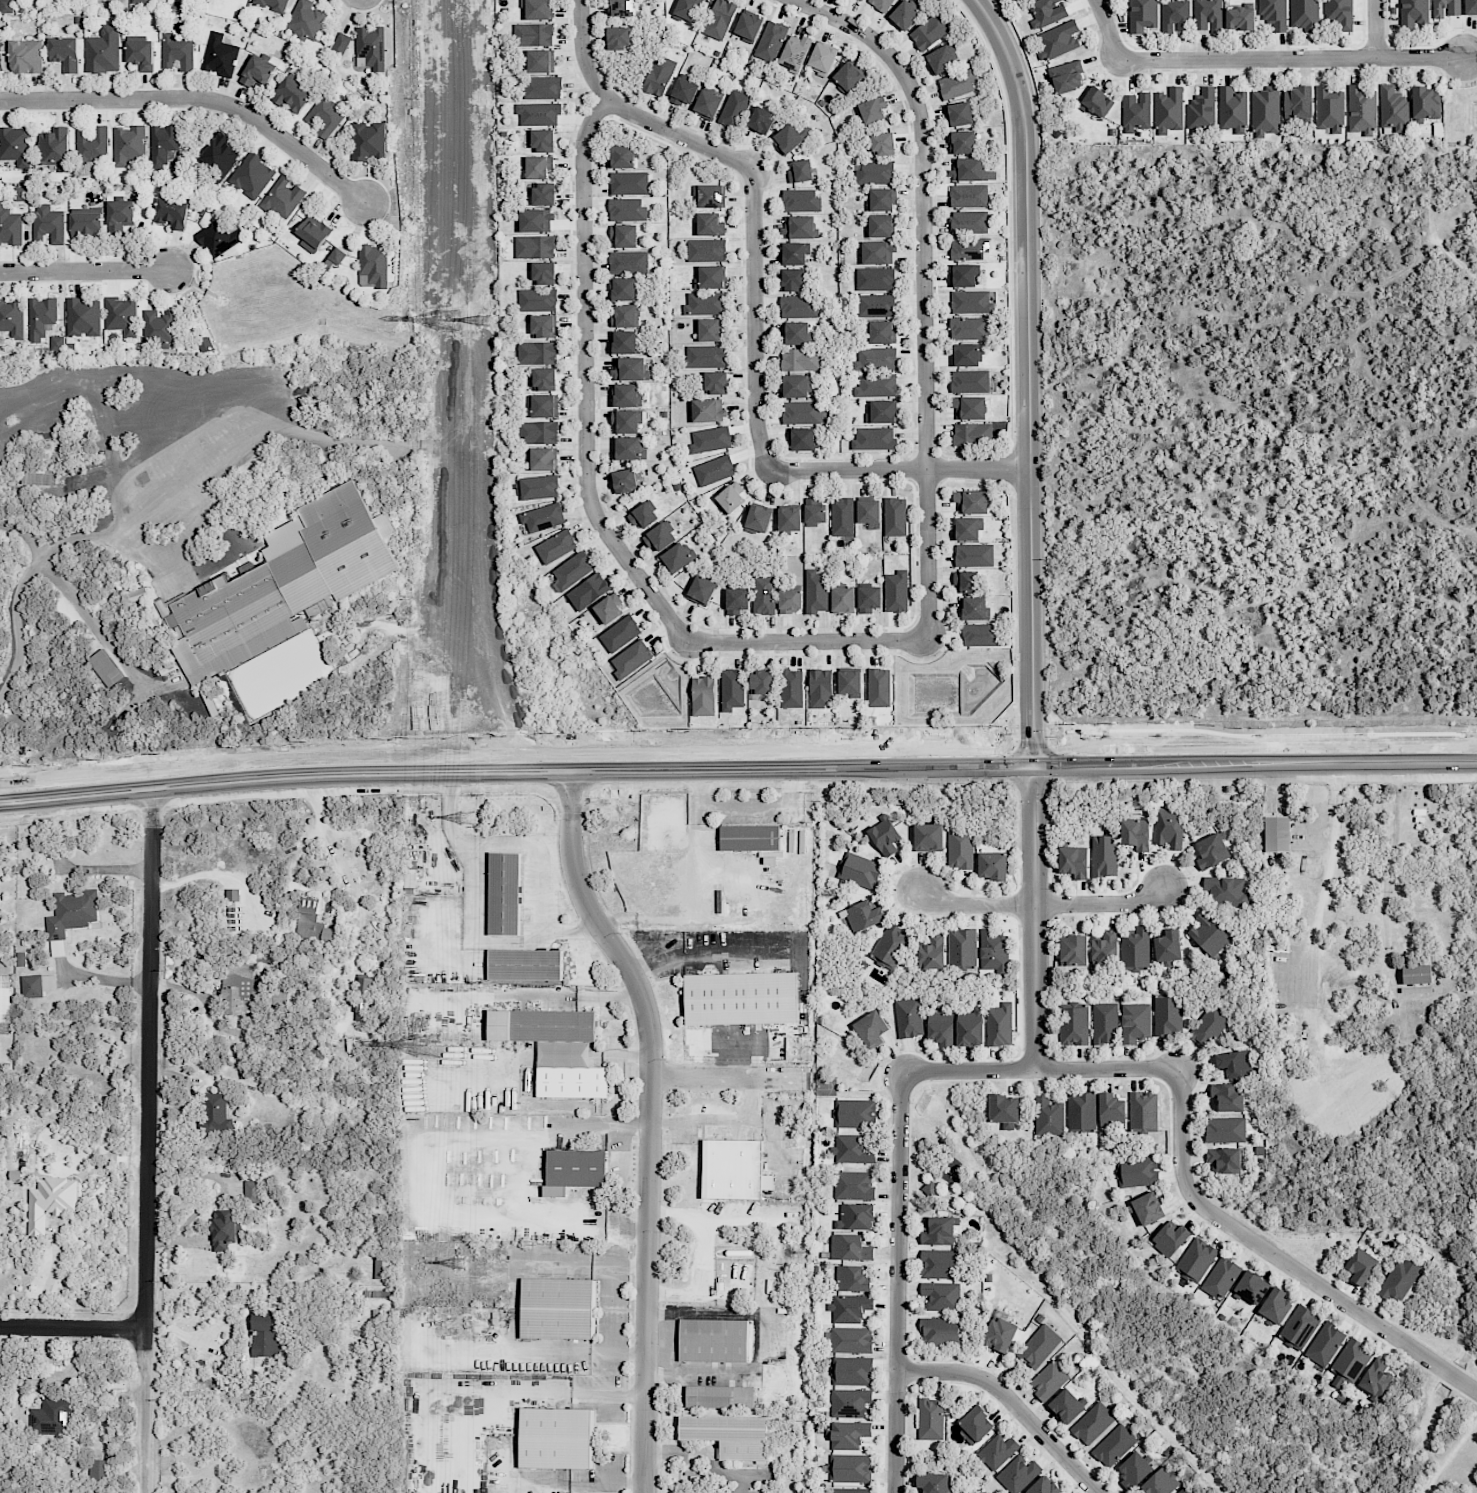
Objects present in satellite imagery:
building: (861, 0)
building: (139, 1)
building: (272, 4)
building: (881, 4)
building: (6, 6)
building: (1470, 6)
building: (622, 8)
building: (1445, 8)
building: (537, 9)
building: (688, 9)
building: (1047, 12)
building: (1274, 13)
building: (1339, 13)
building: (1412, 13)
building: (1304, 14)
building: (905, 15)
building: (1142, 15)
building: (1175, 15)
building: (1208, 15)
building: (307, 19)
building: (719, 19)
building: (1239, 19)
building: (748, 27)
road: (1109, 29)
road: (1376, 29)
building: (930, 31)
building: (533, 34)
building: (619, 38)
building: (1059, 40)
building: (770, 41)
building: (340, 44)
building: (370, 48)
building: (103, 50)
building: (177, 51)
building: (65, 52)
building: (794, 52)
building: (141, 54)
building: (1, 55)
building: (220, 55)
building: (26, 56)
building: (822, 58)
road: (1291, 58)
building: (942, 59)
building: (540, 61)
building: (258, 72)
building: (659, 75)
building: (848, 77)
building: (1067, 77)
building: (957, 83)
building: (542, 88)
building: (683, 91)
building: (292, 95)
road: (197, 99)
building: (1097, 102)
building: (1298, 102)
building: (1426, 103)
building: (707, 104)
building: (733, 108)
building: (1202, 108)
building: (1393, 108)
building: (1232, 109)
building: (1329, 109)
building: (872, 110)
building: (1168, 110)
building: (1362, 110)
building: (1136, 111)
building: (1265, 112)
building: (538, 113)
road: (630, 113)
building: (959, 114)
building: (325, 115)
building: (761, 120)
building: (787, 139)
building: (368, 140)
building: (542, 140)
building: (963, 142)
building: (883, 143)
building: (92, 144)
building: (163, 144)
building: (15, 145)
building: (128, 145)
building: (54, 150)
building: (221, 153)
building: (623, 156)
building: (539, 167)
building: (969, 169)
building: (800, 171)
building: (875, 173)
building: (252, 175)
building: (629, 183)
building: (543, 194)
building: (969, 195)
building: (709, 196)
building: (283, 197)
building: (881, 199)
building: (801, 200)
building: (626, 209)
building: (172, 212)
building: (119, 215)
building: (535, 220)
building: (969, 222)
building: (48, 223)
building: (85, 224)
building: (708, 224)
building: (9, 225)
building: (880, 225)
building: (799, 226)
building: (313, 233)
building: (624, 235)
building: (218, 238)
building: (534, 247)
building: (970, 248)
building: (706, 249)
building: (878, 252)
building: (794, 253)
building: (334, 259)
building: (628, 262)
building: (373, 265)
road: (1464, 267)
road: (84, 270)
building: (543, 272)
building: (964, 275)
building: (711, 277)
building: (875, 279)
building: (792, 280)
building: (624, 289)
road: (924, 289)
building: (537, 299)
building: (972, 302)
building: (704, 303)
building: (876, 305)
building: (798, 306)
building: (121, 315)
building: (625, 315)
building: (41, 317)
building: (83, 317)
building: (12, 318)
road: (753, 318)
power tower: (485, 319)
power tower: (449, 321)
building: (543, 326)
building: (159, 327)
building: (968, 328)
building: (708, 330)
building: (882, 332)
building: (796, 333)
building: (625, 342)
building: (57, 343)
building: (537, 353)
building: (705, 355)
building: (968, 355)
building: (876, 359)
building: (801, 360)
building: (629, 368)
building: (544, 379)
road: (1029, 380)
road: (584, 381)
building: (970, 381)
building: (716, 382)
building: (875, 385)
building: (797, 386)
building: (627, 395)
building: (543, 405)
building: (970, 407)
building: (708, 410)
building: (882, 411)
building: (802, 412)
building: (626, 421)
crop: (1264, 431)
building: (538, 432)
building: (973, 434)
building: (874, 438)
building: (710, 439)
building: (803, 439)
building: (629, 448)
building: (542, 459)
road: (900, 469)
building: (714, 470)
building: (36, 475)
building: (625, 480)
building: (539, 487)
building: (731, 497)
road: (154, 498)
building: (971, 502)
building: (868, 511)
building: (814, 512)
building: (644, 515)
building: (842, 516)
building: (895, 516)
building: (543, 517)
building: (758, 519)
building: (789, 519)
building: (967, 528)
building: (660, 536)
building: (556, 546)
building: (974, 555)
building: (678, 557)
building: (573, 570)
building: (966, 581)
building: (283, 587)
building: (701, 590)
building: (588, 591)
building: (816, 591)
building: (896, 591)
building: (137, 594)
building: (764, 594)
building: (869, 598)
building: (843, 599)
building: (737, 600)
building: (790, 600)
road: (76, 604)
building: (609, 608)
building: (975, 608)
building: (620, 633)
building: (981, 634)
road: (807, 640)
building: (631, 658)
building: (105, 668)
building: (761, 682)
building: (850, 683)
building: (879, 687)
building: (791, 688)
building: (820, 688)
building: (732, 689)
building: (703, 696)
traffic signals: (1032, 771)
road: (737, 774)
road: (8, 785)
power tower: (469, 817)
road: (322, 827)
building: (1169, 827)
building: (1135, 833)
building: (1276, 834)
building: (884, 835)
building: (928, 837)
building: (749, 838)
road: (1331, 839)
building: (960, 845)
building: (1211, 851)
road: (541, 853)
building: (1103, 855)
building: (1073, 861)
building: (992, 865)
road: (71, 866)
building: (859, 870)
building: (1227, 891)
building: (504, 894)
road: (1039, 900)
building: (71, 912)
building: (864, 916)
road: (1034, 919)
building: (313, 922)
road: (471, 923)
building: (1208, 934)
building: (890, 946)
building: (1168, 946)
building: (962, 949)
building: (1105, 949)
building: (1135, 949)
building: (1073, 950)
building: (993, 951)
building: (932, 953)
road: (704, 956)
building: (524, 964)
building: (1416, 974)
road: (102, 980)
building: (36, 987)
building: (237, 988)
building: (363, 994)
building: (741, 998)
building: (4, 1004)
building: (1168, 1016)
building: (908, 1017)
building: (1135, 1022)
building: (1105, 1023)
building: (1073, 1024)
building: (541, 1025)
building: (999, 1025)
building: (970, 1027)
building: (1207, 1027)
building: (941, 1028)
building: (871, 1029)
power tower: (429, 1051)
building: (1233, 1064)
road: (1037, 1068)
road: (725, 1080)
building: (571, 1082)
building: (1227, 1097)
building: (1004, 1110)
building: (1111, 1110)
building: (1081, 1111)
building: (1143, 1111)
building: (854, 1113)
building: (216, 1114)
building: (1048, 1116)
road: (648, 1125)
building: (1225, 1129)
road: (147, 1142)
building: (852, 1149)
building: (1224, 1159)
building: (576, 1167)
building: (733, 1169)
building: (1137, 1171)
building: (853, 1185)
building: (930, 1188)
building: (251, 1191)
building: (50, 1201)
building: (1148, 1208)
building: (856, 1216)
building: (225, 1228)
building: (938, 1231)
building: (1170, 1238)
building: (850, 1248)
road: (702, 1255)
road: (1279, 1258)
building: (1196, 1260)
road: (579, 1261)
power tower: (462, 1264)
building: (939, 1264)
building: (1360, 1265)
building: (382, 1267)
building: (1221, 1277)
building: (852, 1279)
building: (1399, 1280)
road: (896, 1281)
building: (1252, 1286)
building: (941, 1296)
building: (1275, 1305)
building: (556, 1308)
building: (849, 1308)
road: (73, 1326)
building: (1299, 1327)
building: (940, 1331)
building: (264, 1334)
building: (713, 1340)
building: (850, 1340)
building: (1325, 1344)
road: (531, 1346)
building: (1039, 1346)
road: (218, 1349)
building: (1350, 1360)
building: (851, 1371)
building: (1376, 1378)
building: (1049, 1379)
building: (720, 1397)
building: (849, 1402)
road: (1009, 1402)
building: (1066, 1406)
building: (51, 1416)
building: (930, 1419)
building: (1093, 1422)
building: (976, 1424)
building: (728, 1434)
building: (848, 1434)
building: (555, 1438)
building: (1114, 1445)
building: (997, 1451)
road: (705, 1458)
building: (849, 1468)
building: (1134, 1470)
building: (99, 1471)
building: (1018, 1474)
building: (1161, 1482)
building: (934, 1483)
building: (1044, 1486)
building: (850, 1490)
building: (1182, 1491)

